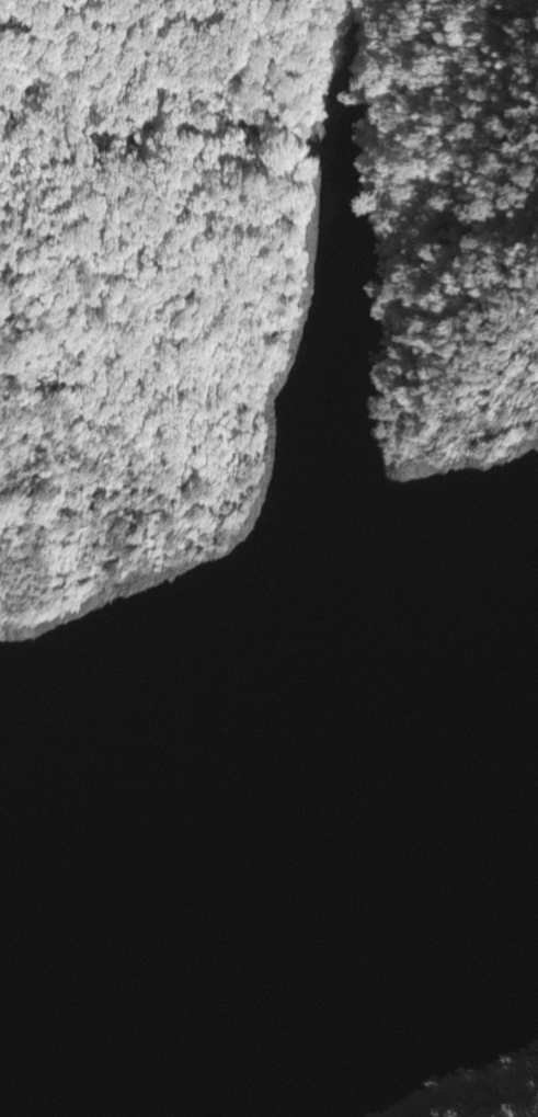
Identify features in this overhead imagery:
river: (461, 777)
river: (190, 860)

